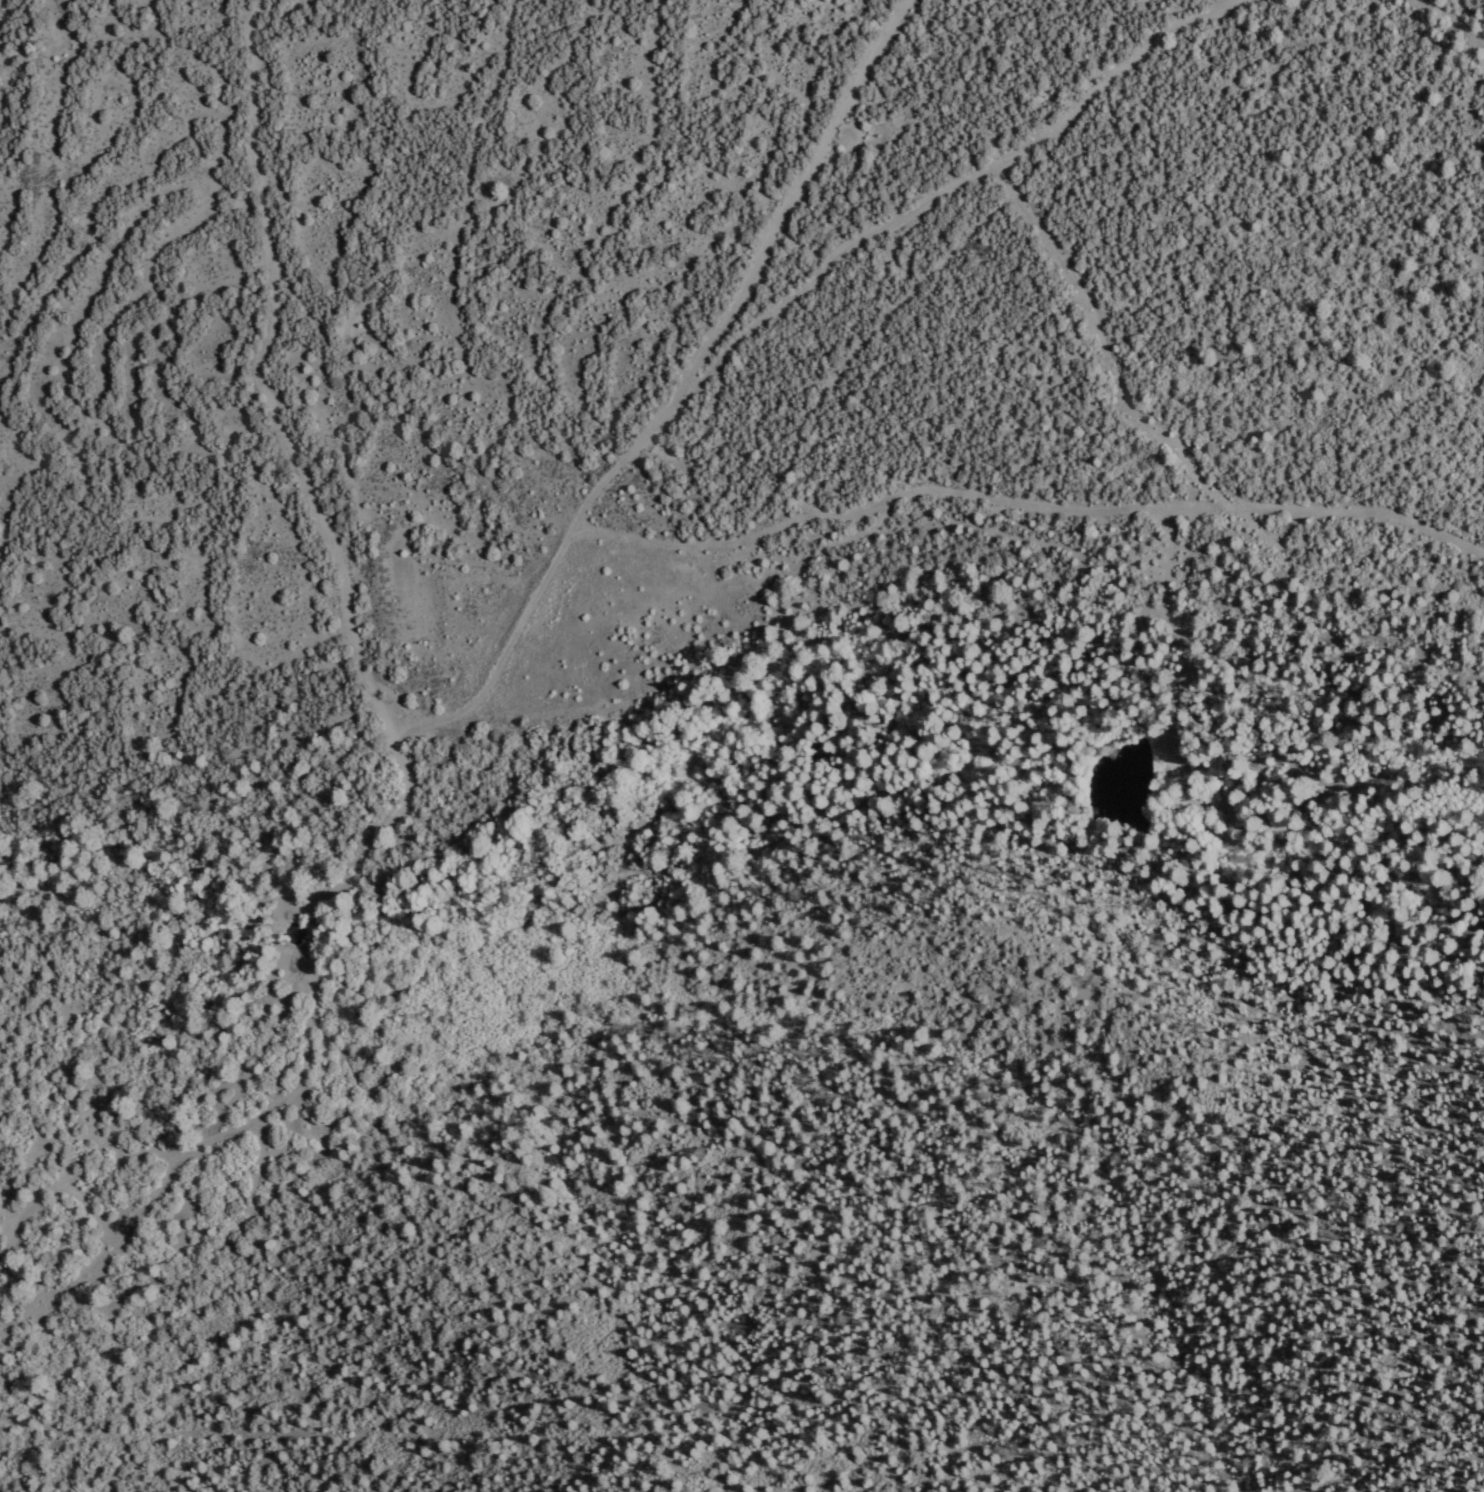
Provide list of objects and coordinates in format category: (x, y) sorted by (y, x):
road: (1462, 11)
road: (20, 51)
road: (989, 166)
road: (463, 611)

